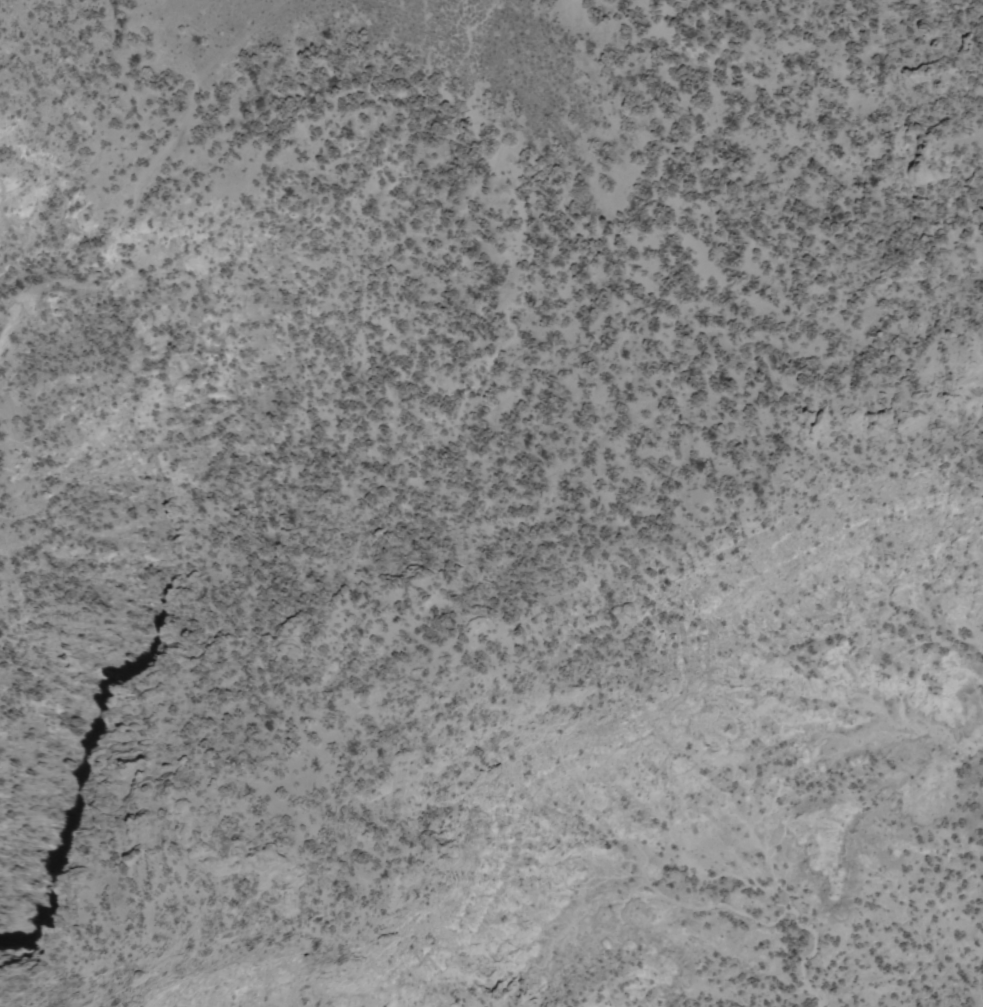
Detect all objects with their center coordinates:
road: (120, 150)

